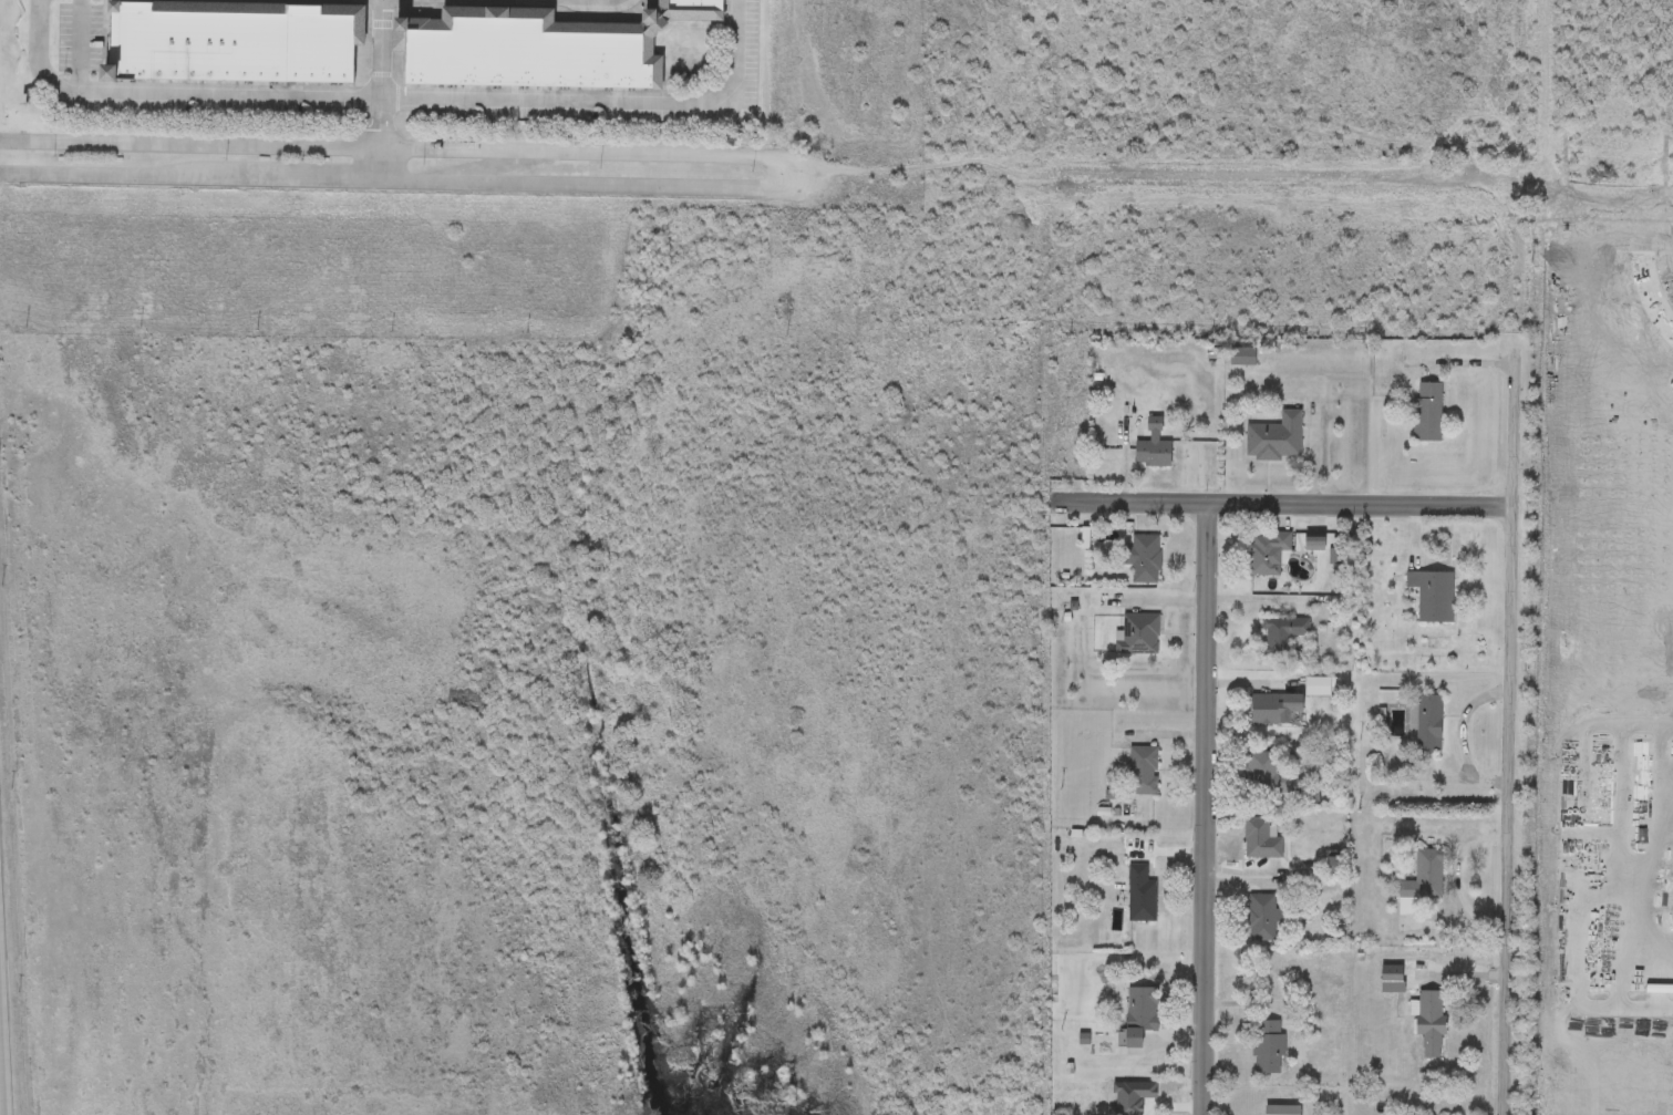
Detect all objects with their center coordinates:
road: (556, 1)
building: (233, 41)
building: (534, 49)
road: (380, 91)
road: (399, 102)
road: (1644, 106)
road: (1600, 174)
road: (812, 175)
road: (1165, 175)
road: (1591, 206)
road: (1645, 278)
building: (1237, 355)
building: (1424, 411)
building: (1270, 437)
building: (1147, 446)
road: (1288, 508)
building: (1307, 541)
building: (1264, 551)
building: (1139, 557)
building: (1428, 593)
building: (1136, 633)
building: (1279, 633)
road: (1511, 643)
building: (1314, 685)
building: (1269, 708)
building: (1426, 724)
building: (1139, 770)
building: (1262, 773)
road: (1206, 812)
building: (1259, 837)
road: (1619, 868)
road: (1659, 869)
road: (1579, 871)
road: (1257, 873)
building: (1421, 876)
road: (1455, 879)
building: (1137, 894)
building: (1259, 916)
road: (1443, 923)
road: (1455, 973)
building: (1272, 984)
building: (1135, 1013)
building: (1426, 1021)
building: (1263, 1046)
road: (2, 1056)

